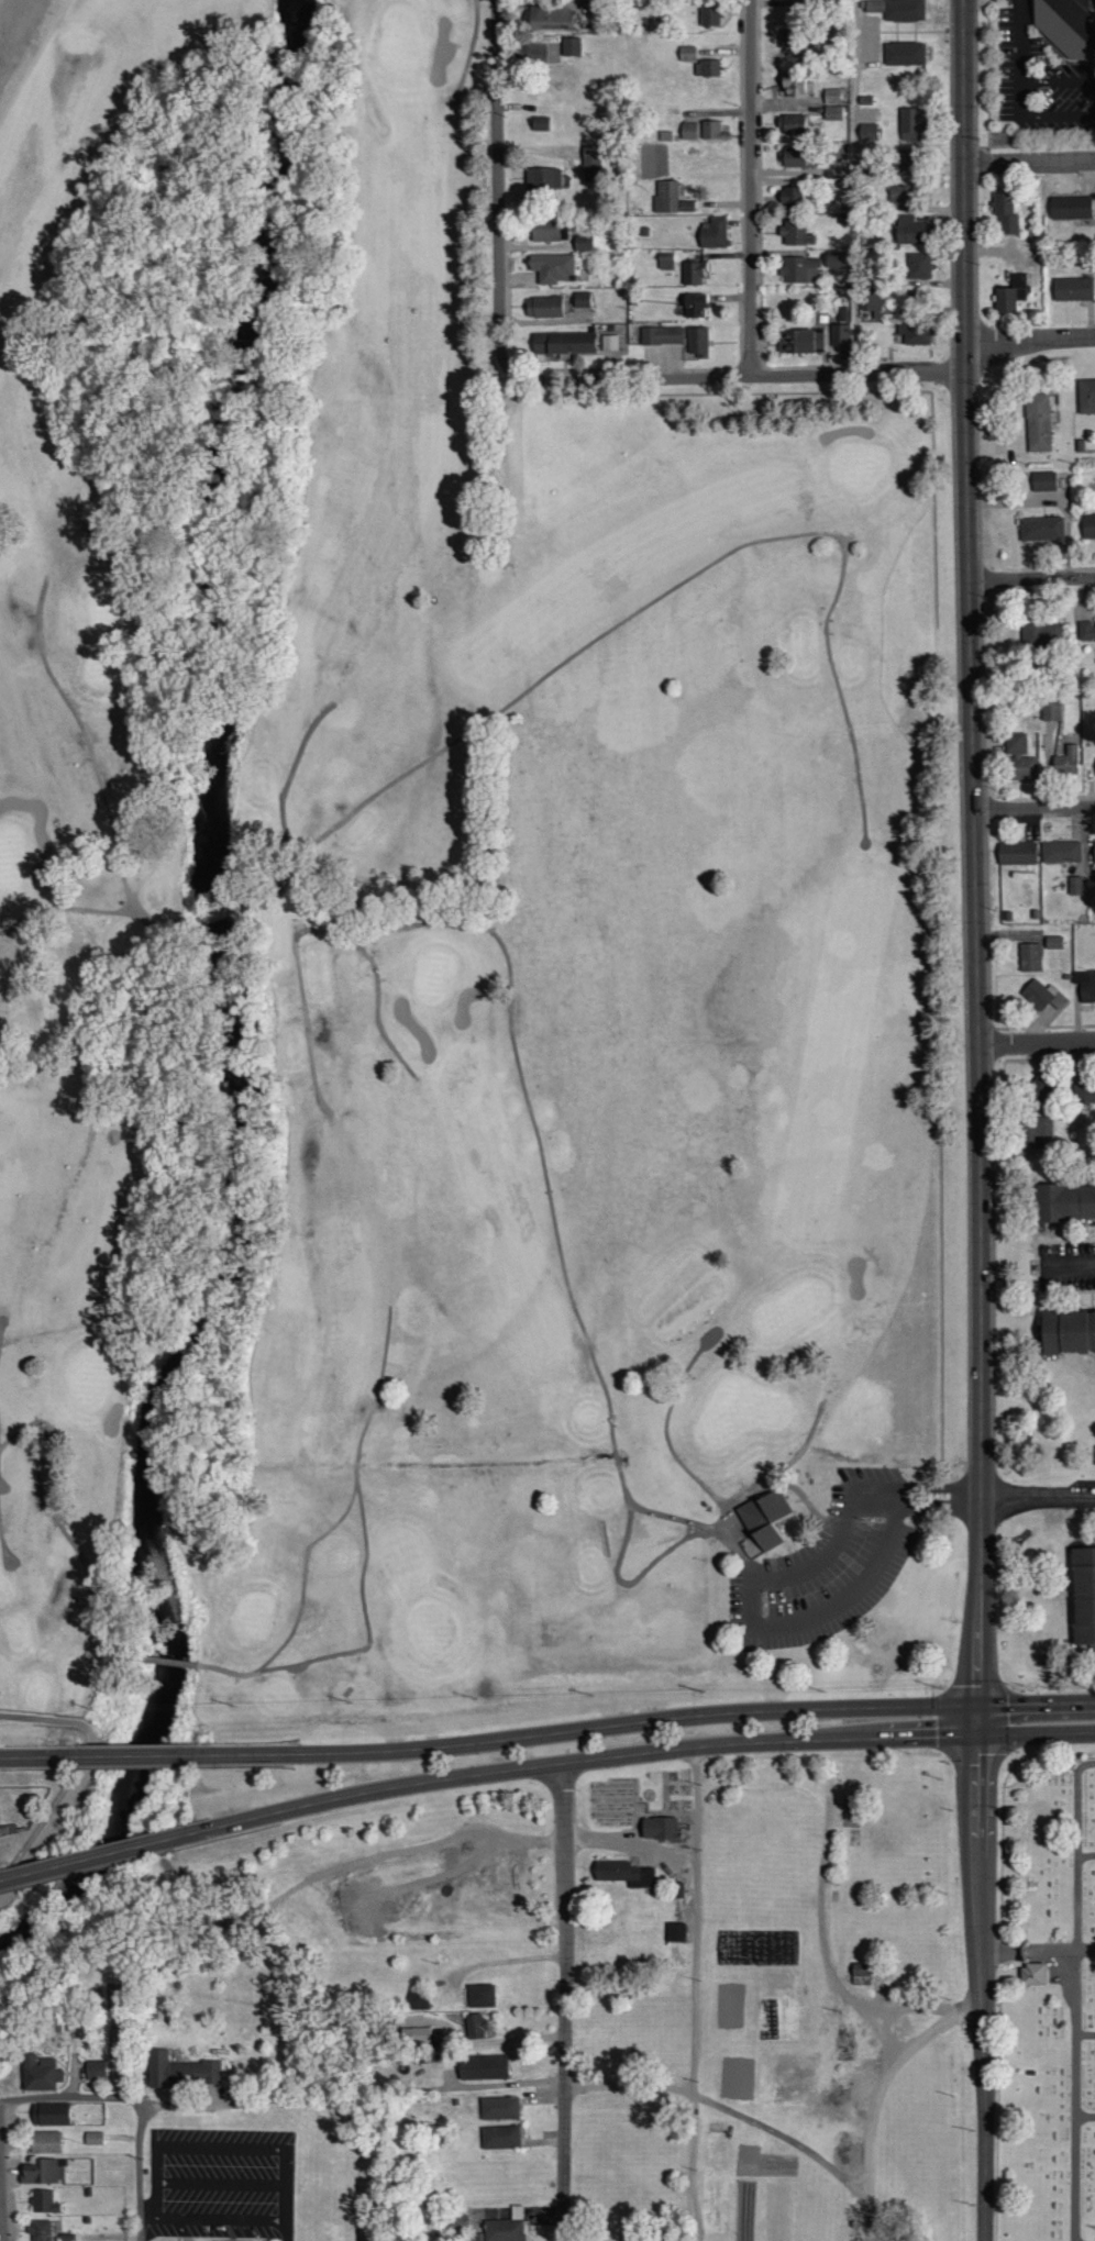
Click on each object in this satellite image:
building: (1083, 1)
building: (873, 7)
building: (904, 11)
building: (709, 15)
building: (547, 20)
building: (1064, 27)
road: (13, 41)
road: (1020, 41)
building: (563, 47)
road: (472, 49)
building: (686, 54)
building: (904, 54)
building: (706, 69)
road: (1058, 82)
building: (796, 88)
building: (832, 104)
road: (1041, 115)
building: (794, 124)
building: (909, 124)
building: (688, 132)
building: (869, 132)
building: (793, 158)
building: (906, 159)
road: (1030, 163)
building: (590, 164)
building: (542, 180)
road: (500, 186)
road: (856, 186)
road: (751, 188)
building: (898, 195)
building: (666, 197)
building: (790, 199)
building: (1071, 208)
building: (1005, 213)
building: (543, 231)
building: (911, 232)
building: (796, 233)
building: (714, 234)
building: (834, 263)
building: (919, 267)
building: (553, 268)
building: (800, 270)
building: (694, 275)
building: (1073, 290)
building: (1010, 295)
building: (580, 300)
building: (695, 307)
building: (543, 308)
building: (915, 334)
building: (840, 336)
road: (1030, 337)
building: (800, 342)
building: (697, 343)
building: (608, 344)
building: (660, 344)
building: (561, 345)
road: (738, 377)
building: (1086, 396)
building: (1038, 422)
building: (1043, 481)
building: (1088, 525)
building: (1041, 529)
road: (1032, 579)
road: (656, 601)
building: (1086, 631)
building: (1041, 634)
building: (1051, 711)
building: (1019, 758)
building: (1066, 761)
road: (289, 776)
road: (107, 805)
road: (1035, 807)
building: (1060, 852)
building: (1016, 853)
building: (1093, 853)
road: (975, 859)
building: (1075, 885)
road: (209, 917)
road: (150, 927)
park: (445, 934)
building: (1054, 942)
road: (120, 953)
building: (1029, 956)
road: (333, 967)
building: (1087, 987)
road: (300, 992)
building: (1042, 995)
road: (509, 1010)
river: (236, 1024)
road: (1037, 1043)
building: (1085, 1092)
road: (92, 1113)
building: (1035, 1132)
building: (1064, 1202)
road: (1068, 1265)
building: (1068, 1330)
road: (682, 1379)
road: (365, 1427)
road: (768, 1477)
road: (742, 1488)
road: (627, 1493)
road: (918, 1494)
road: (1038, 1496)
building: (766, 1517)
road: (64, 1528)
road: (4, 1535)
road: (654, 1536)
road: (739, 1547)
road: (632, 1585)
building: (1082, 1594)
road: (366, 1622)
road: (764, 1626)
road: (166, 1658)
road: (1037, 1718)
traffic signals: (978, 1720)
road: (589, 1728)
road: (770, 1742)
road: (129, 1756)
road: (29, 1757)
road: (1090, 1766)
road: (84, 1779)
road: (378, 1790)
building: (657, 1828)
road: (630, 1839)
road: (1087, 1855)
road: (100, 1856)
road: (823, 1867)
building: (623, 1873)
building: (675, 1932)
road: (1038, 1951)
road: (510, 1959)
building: (859, 1968)
building: (1033, 1972)
road: (983, 1981)
road: (694, 1994)
building: (480, 1995)
road: (566, 2003)
park: (1047, 2003)
road: (1079, 2003)
road: (921, 2004)
building: (474, 2026)
road: (1086, 2034)
building: (414, 2035)
building: (482, 2066)
building: (95, 2070)
building: (180, 2071)
building: (38, 2072)
road: (875, 2095)
road: (180, 2100)
road: (136, 2104)
road: (727, 2105)
building: (499, 2107)
building: (49, 2114)
road: (1086, 2117)
building: (500, 2137)
building: (93, 2138)
building: (45, 2142)
building: (45, 2171)
building: (44, 2201)
road: (208, 2210)
road: (0, 2223)
road: (287, 2223)
building: (506, 2227)
building: (41, 2230)

